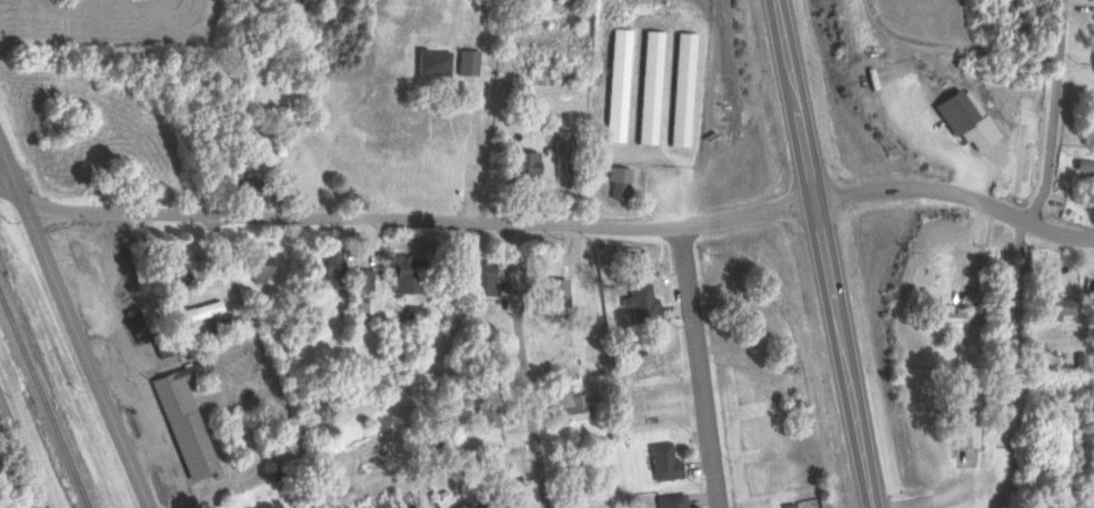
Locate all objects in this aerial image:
road: (884, 22)
road: (1070, 30)
road: (985, 49)
building: (650, 94)
building: (961, 118)
road: (922, 129)
building: (1093, 130)
road: (1056, 144)
building: (1082, 164)
building: (518, 165)
road: (6, 181)
building: (615, 181)
building: (249, 186)
road: (564, 223)
road: (825, 253)
building: (174, 262)
building: (258, 266)
building: (329, 268)
building: (402, 274)
building: (475, 277)
building: (355, 278)
road: (691, 298)
building: (1001, 301)
building: (636, 302)
building: (1054, 306)
building: (197, 309)
building: (945, 314)
building: (130, 319)
road: (73, 329)
building: (159, 344)
road: (267, 362)
road: (526, 365)
railway: (42, 404)
building: (562, 406)
building: (482, 413)
building: (182, 418)
building: (961, 420)
road: (24, 448)
building: (659, 461)
building: (505, 496)
building: (664, 500)
building: (458, 505)

